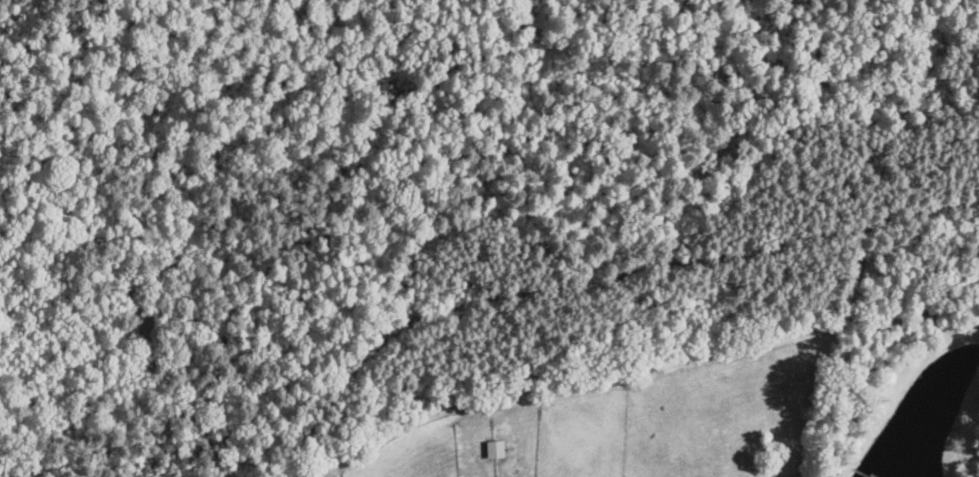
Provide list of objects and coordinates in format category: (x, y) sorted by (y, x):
building: (493, 449)

